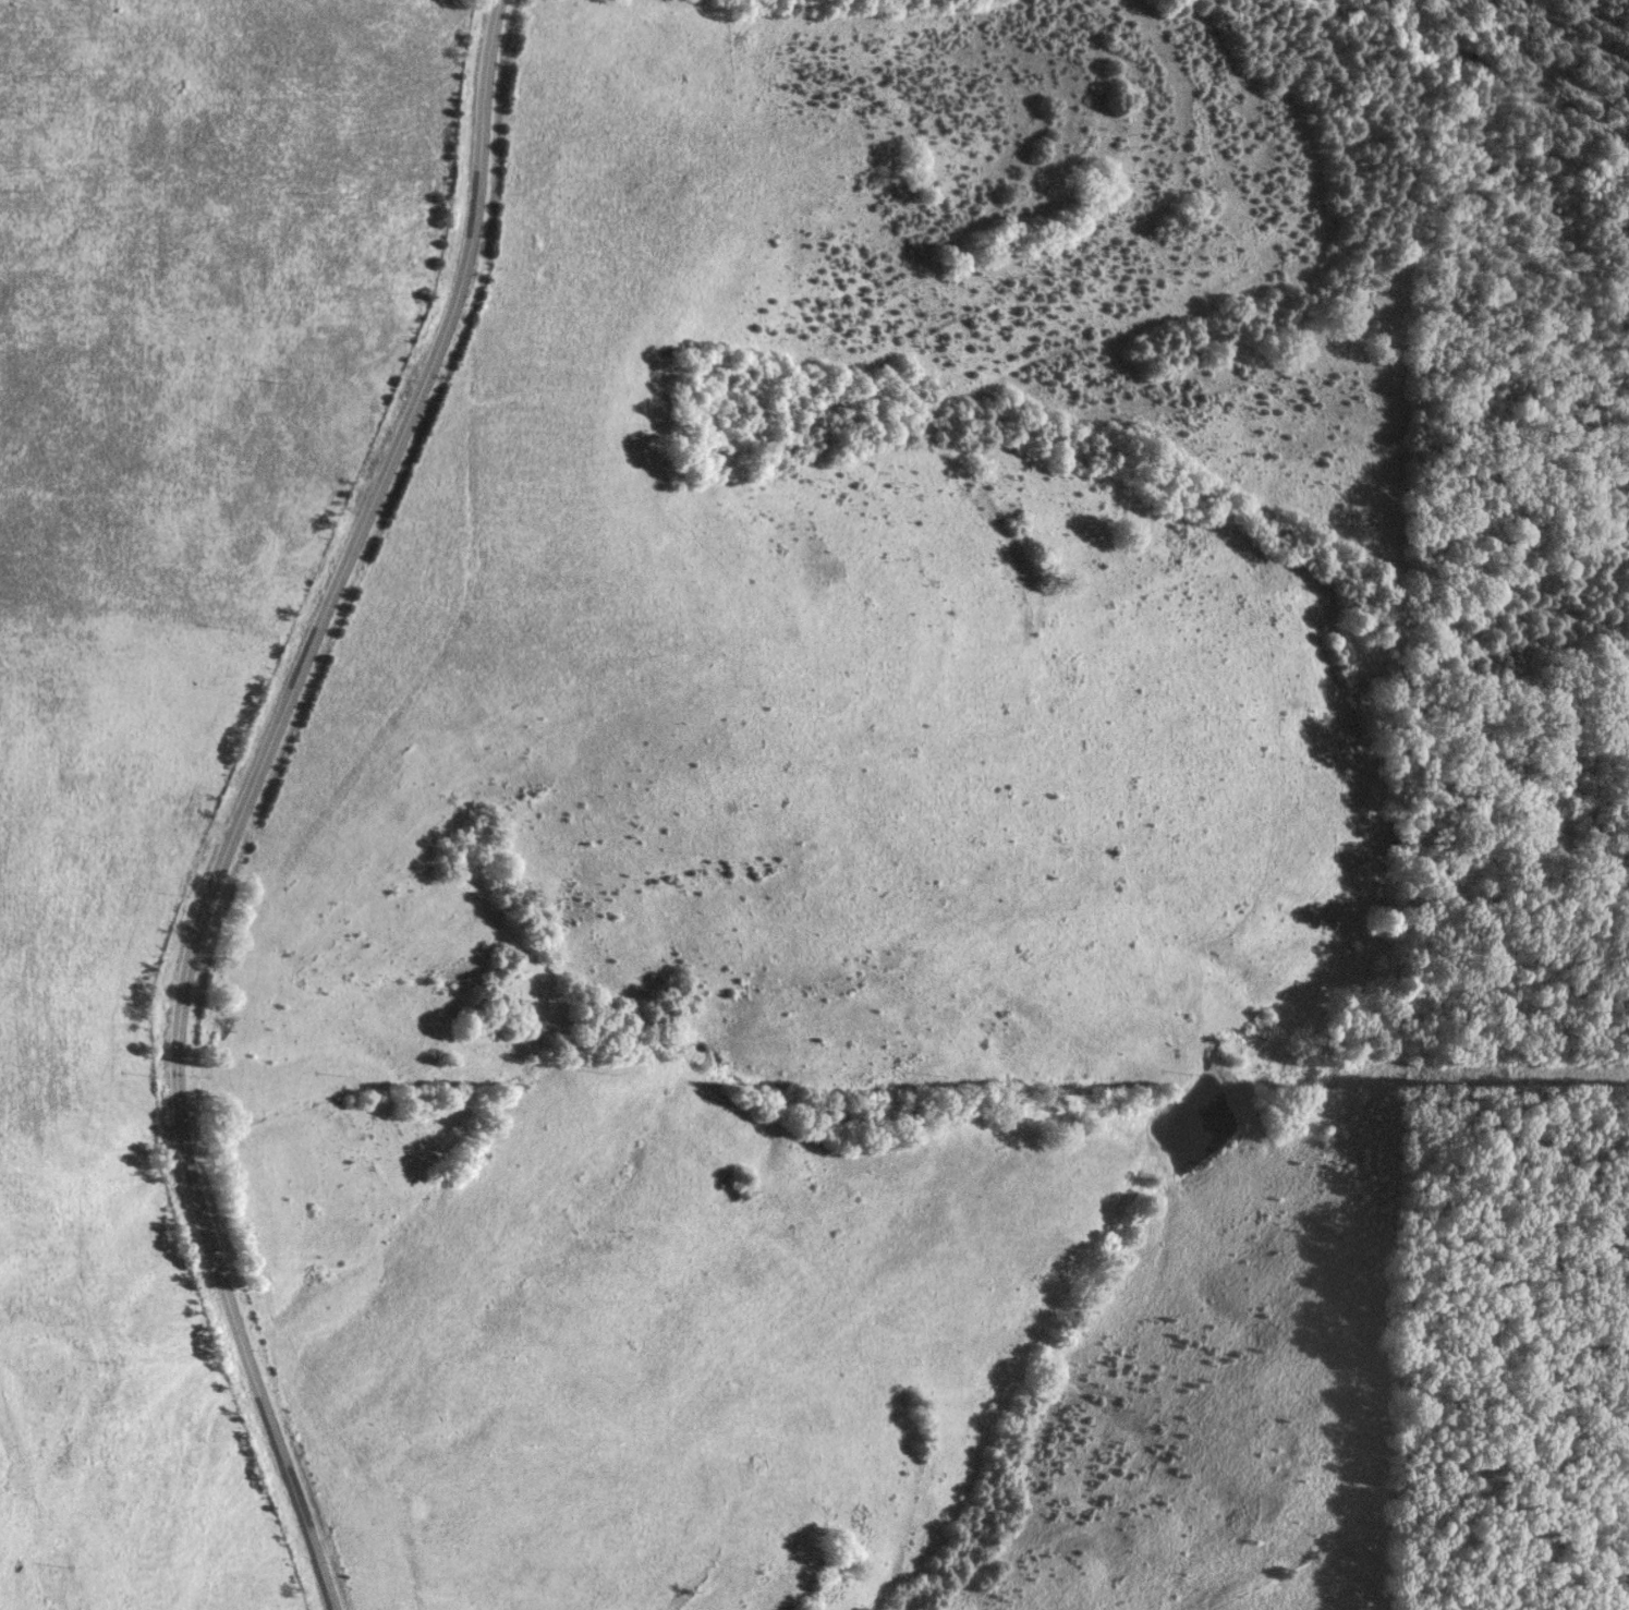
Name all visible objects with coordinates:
road: (244, 798)

